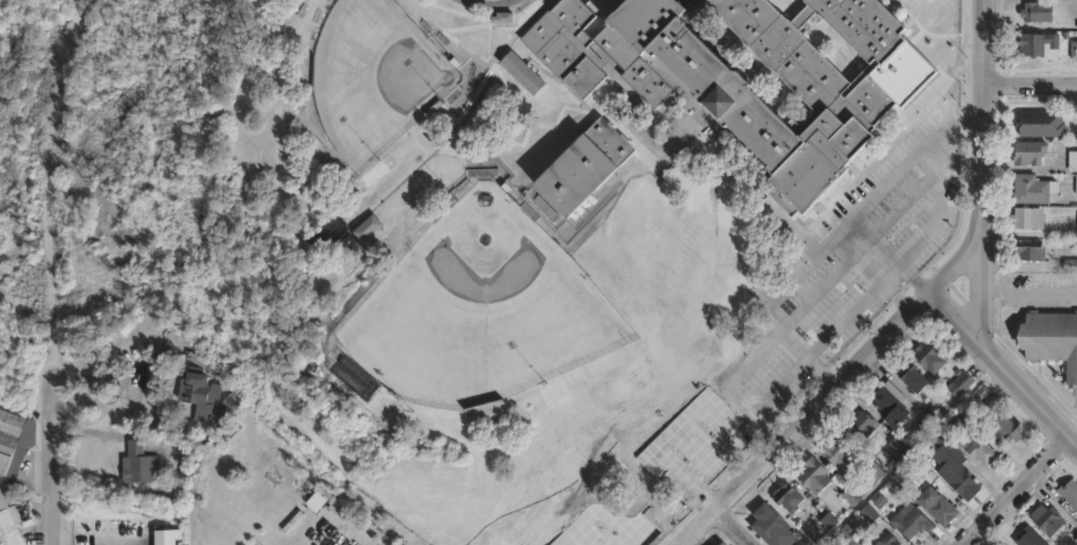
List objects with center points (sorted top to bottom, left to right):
track: (487, 2)
building: (1039, 13)
building: (866, 27)
building: (1044, 48)
building: (1075, 51)
building: (523, 74)
building: (728, 80)
road: (1029, 86)
road: (983, 116)
building: (1043, 125)
building: (1031, 151)
building: (1073, 160)
building: (586, 168)
building: (1034, 189)
road: (864, 201)
road: (762, 203)
building: (1031, 217)
building: (366, 227)
building: (327, 234)
building: (1029, 250)
road: (959, 256)
building: (1060, 265)
road: (983, 285)
road: (960, 308)
building: (1052, 339)
building: (930, 357)
building: (913, 377)
building: (198, 380)
building: (961, 384)
road: (1029, 391)
building: (986, 397)
building: (890, 407)
road: (804, 412)
building: (212, 413)
building: (861, 425)
building: (1007, 426)
building: (13, 437)
building: (899, 446)
building: (984, 448)
building: (836, 449)
road: (55, 453)
building: (138, 463)
building: (919, 467)
building: (953, 467)
building: (876, 473)
building: (815, 475)
road: (1014, 490)
building: (1069, 492)
building: (853, 496)
building: (788, 497)
building: (932, 501)
road: (320, 510)
building: (869, 513)
building: (1049, 520)
building: (9, 521)
building: (912, 523)
building: (774, 526)
road: (720, 530)
building: (847, 536)
building: (1026, 536)
building: (890, 539)
building: (721, 543)
building: (723, 544)

